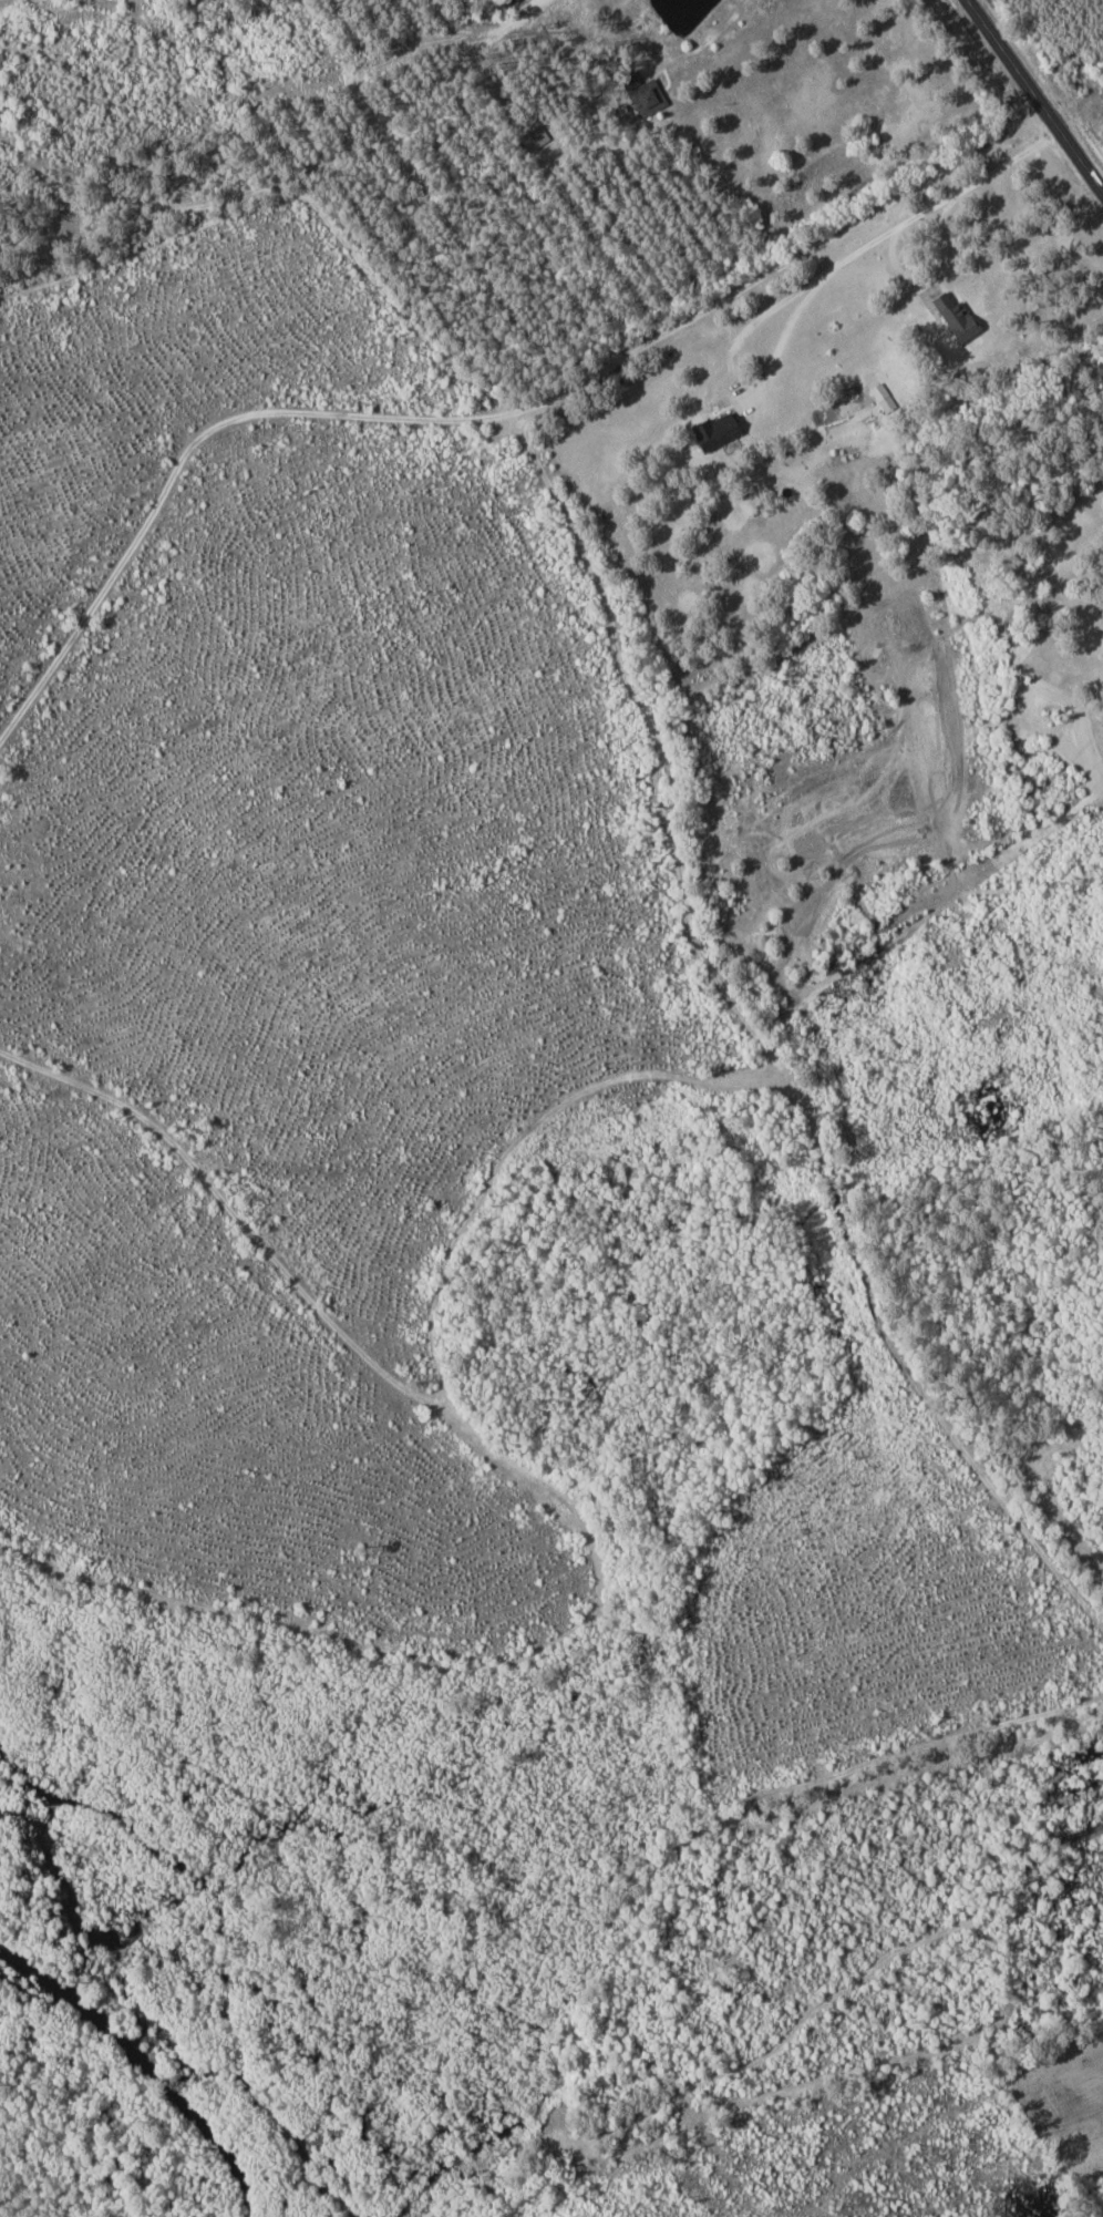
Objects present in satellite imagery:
road: (1035, 94)
building: (647, 97)
building: (956, 315)
building: (717, 430)

